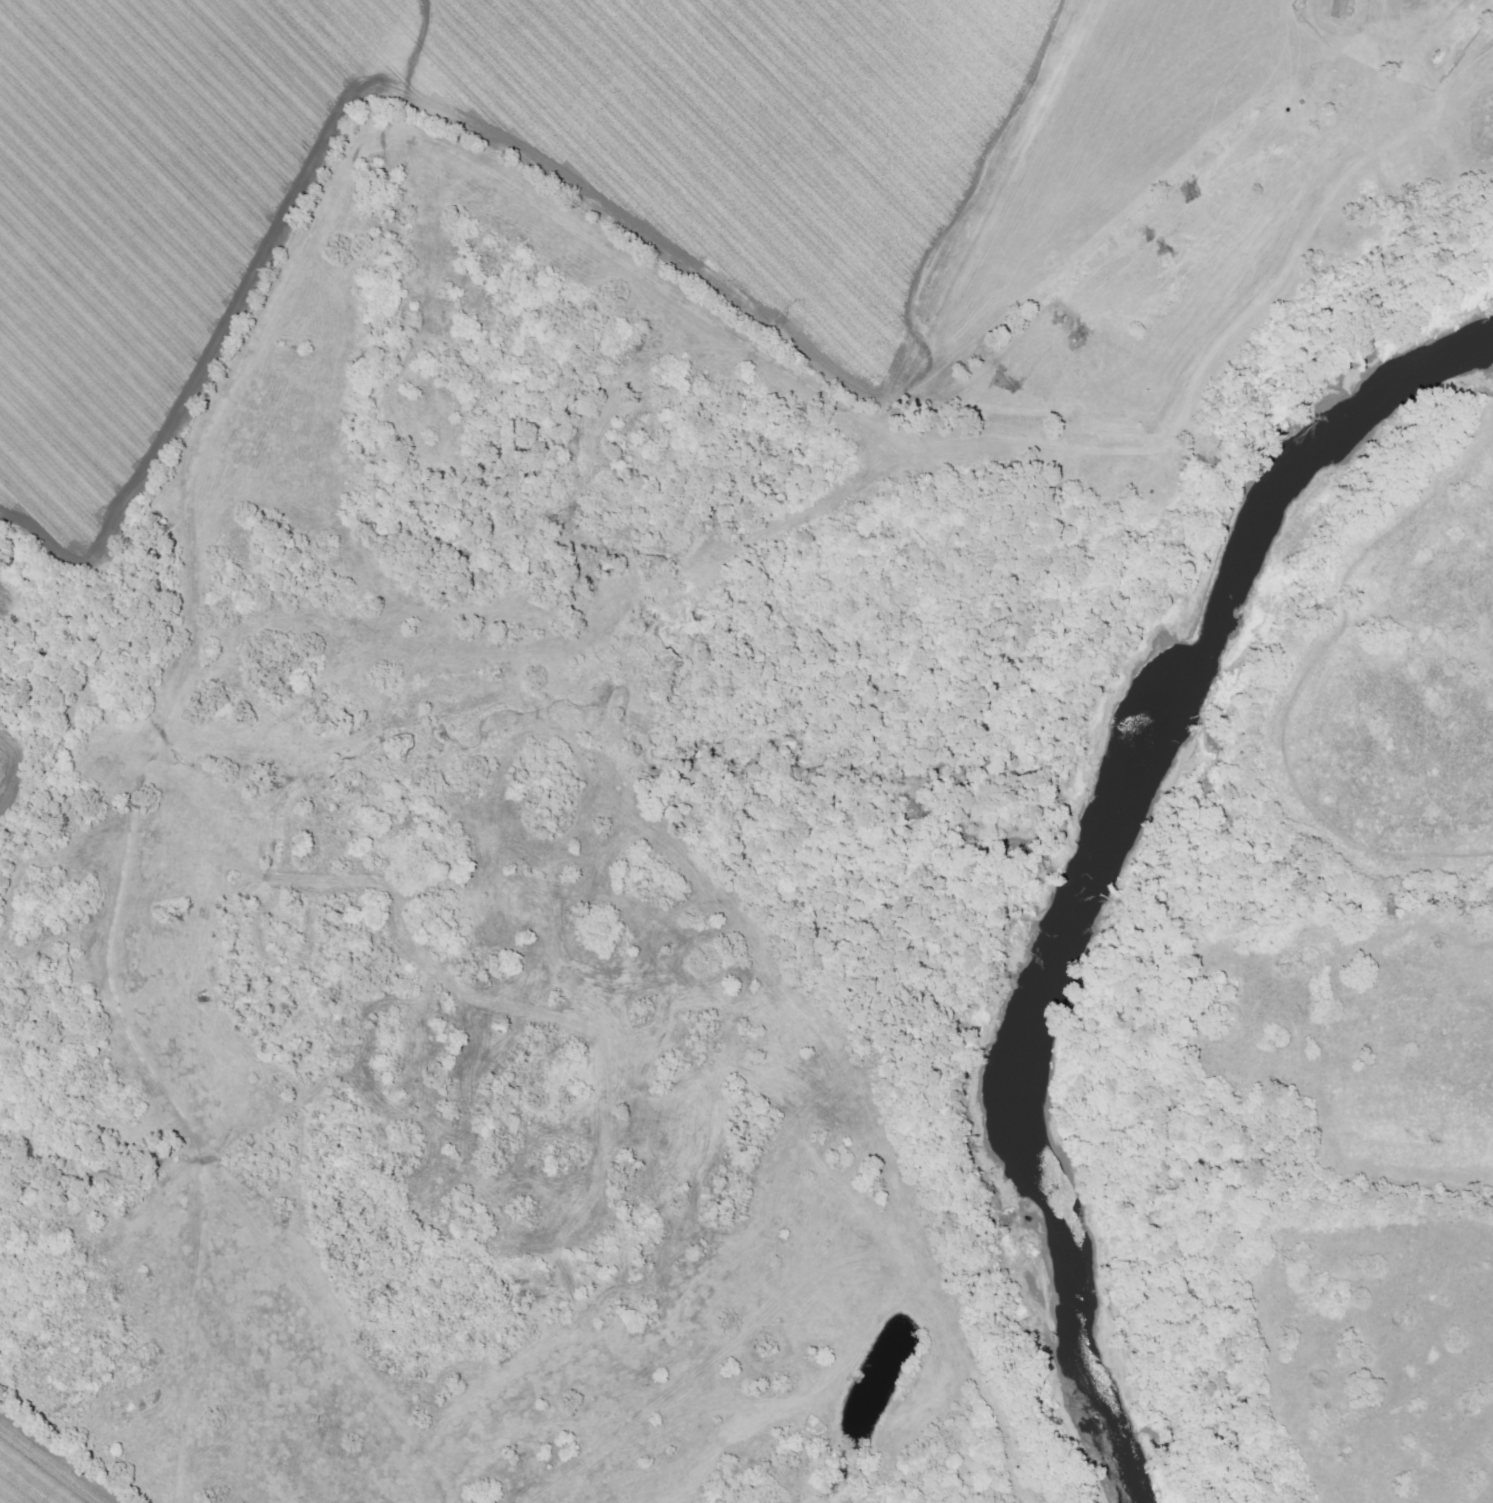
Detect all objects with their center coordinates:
river: (1110, 871)

